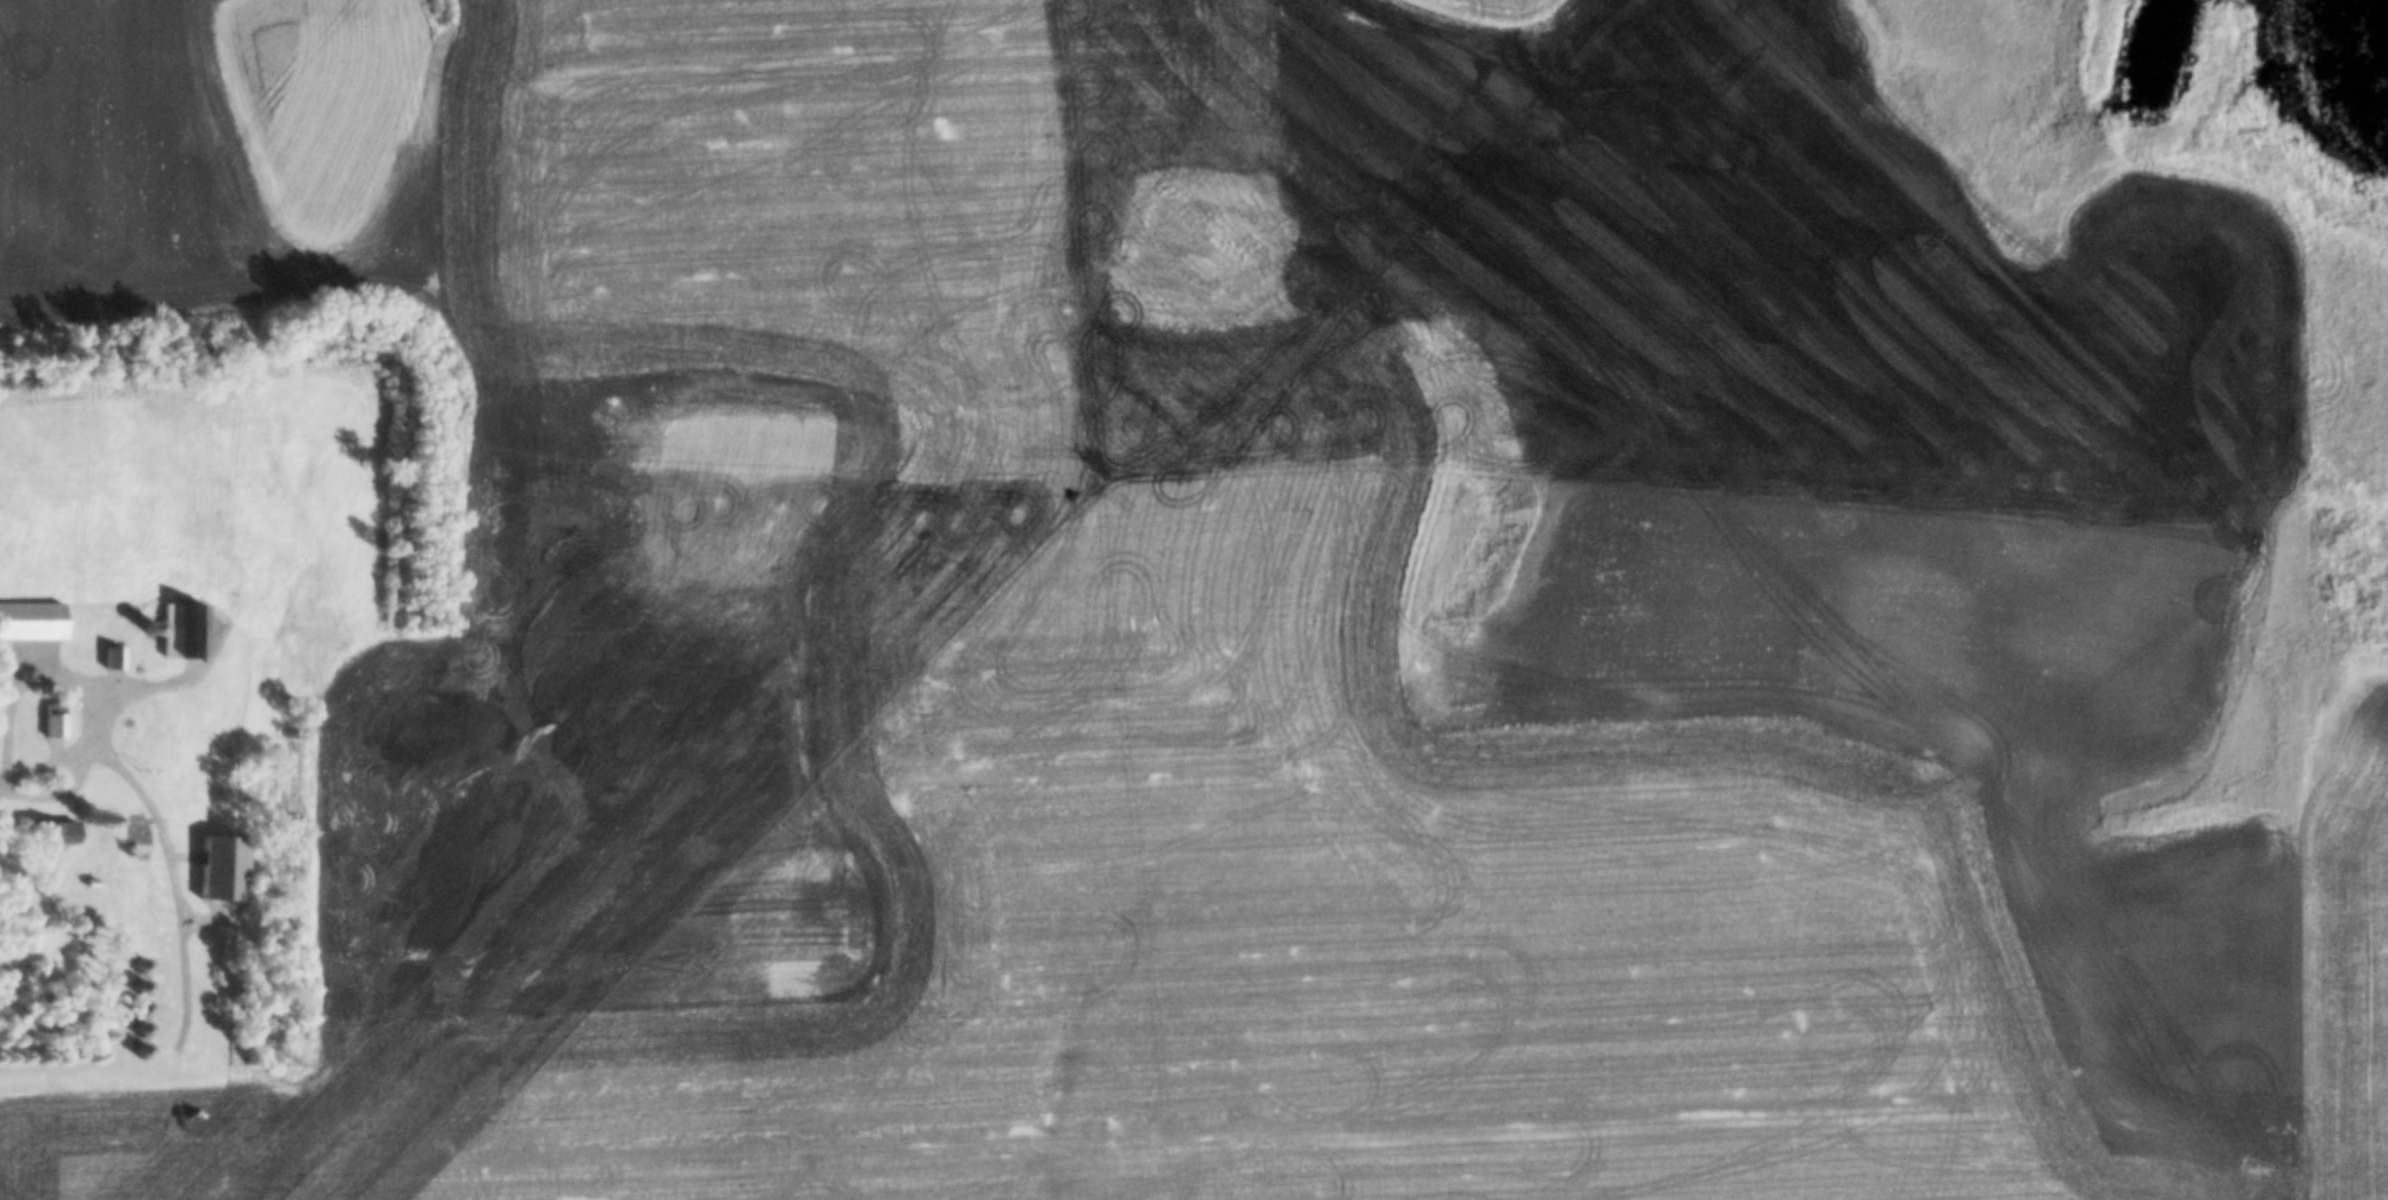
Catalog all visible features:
building: (31, 619)
building: (188, 630)
building: (111, 657)
building: (52, 724)
building: (211, 734)
building: (47, 831)
building: (219, 868)
building: (137, 966)
building: (137, 986)

